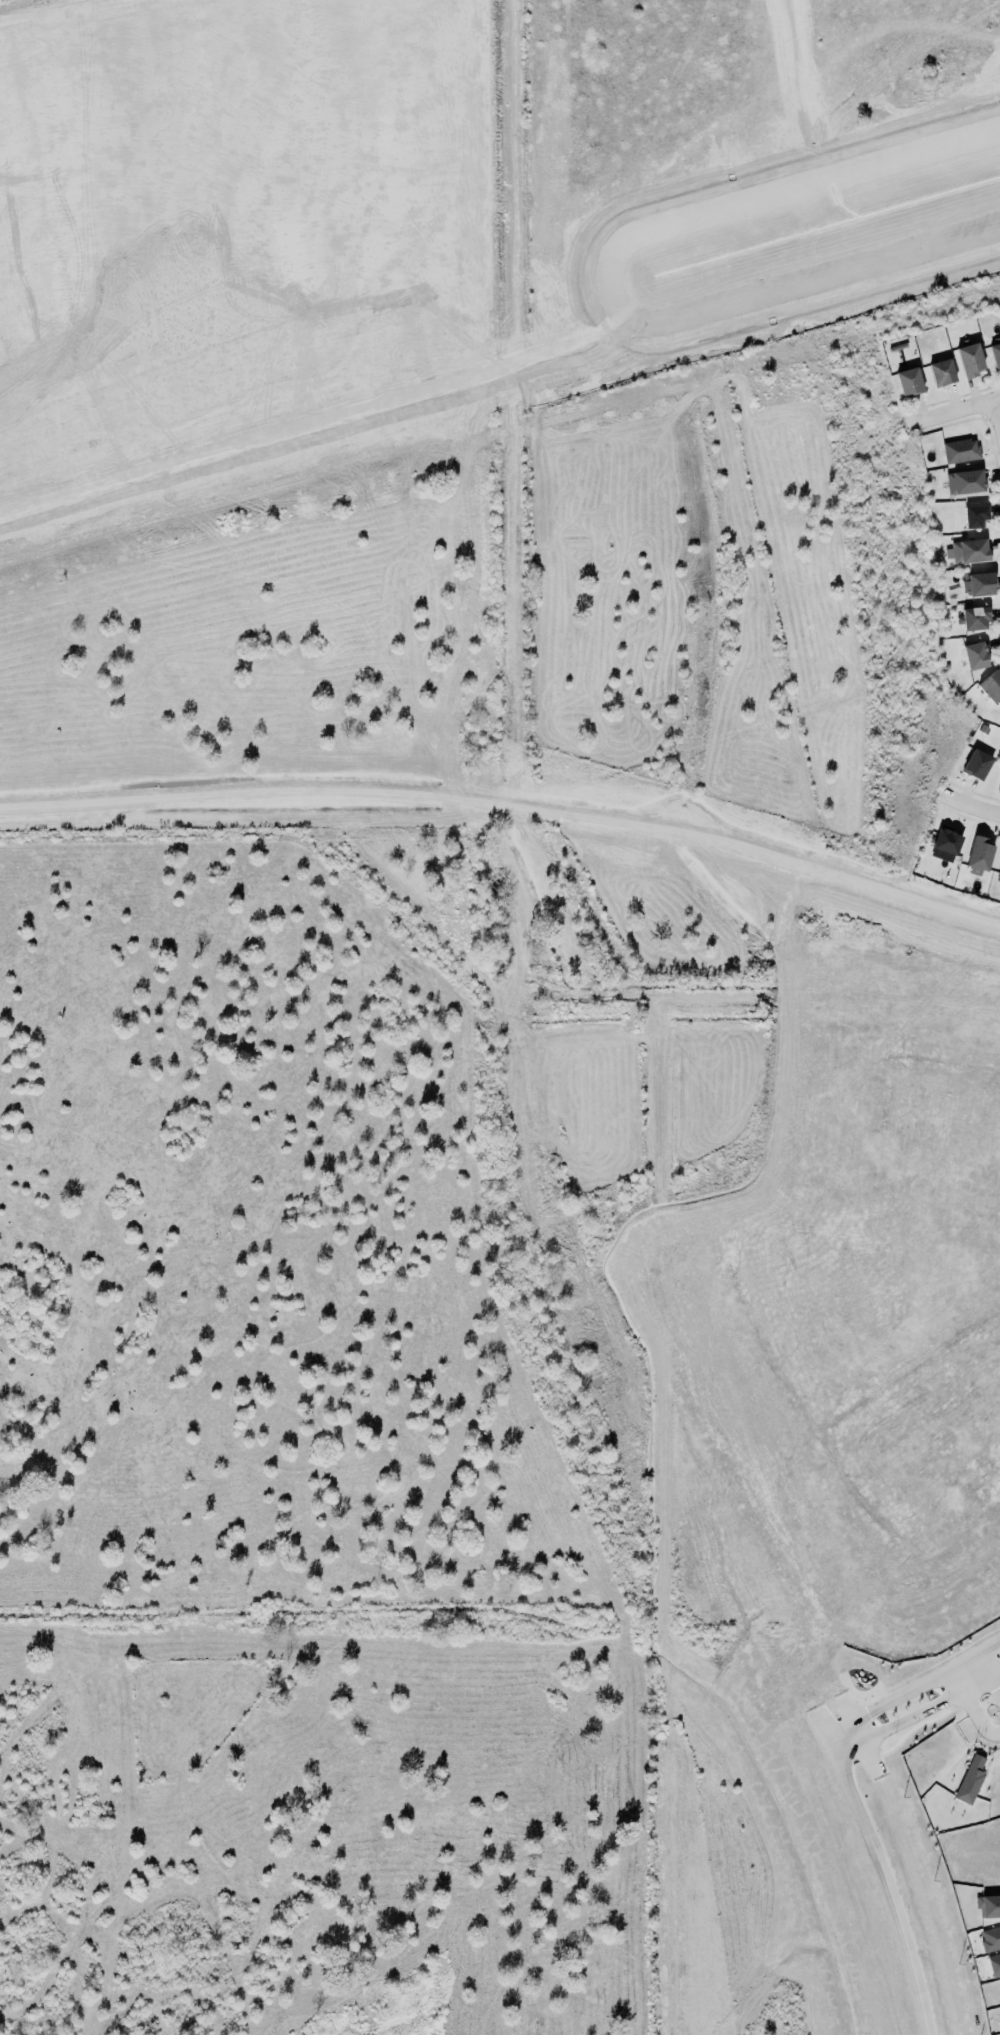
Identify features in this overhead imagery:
building: (995, 355)
building: (970, 360)
building: (940, 371)
building: (908, 381)
road: (999, 406)
road: (954, 413)
building: (961, 451)
building: (963, 482)
building: (975, 516)
building: (966, 551)
building: (977, 583)
building: (972, 618)
building: (976, 655)
building: (990, 685)
building: (977, 764)
road: (971, 803)
road: (715, 835)
building: (943, 844)
building: (976, 855)
building: (998, 873)
road: (765, 883)
road: (558, 1007)
road: (875, 1046)
road: (568, 1168)
road: (586, 1280)
road: (775, 1364)
road: (832, 1452)
road: (987, 1664)
road: (996, 1672)
road: (960, 1680)
road: (979, 1682)
road: (996, 1682)
road: (915, 1689)
road: (978, 1717)
road: (901, 1723)
building: (971, 1780)
road: (883, 1882)
building: (988, 1906)
building: (990, 1939)
building: (994, 1965)

